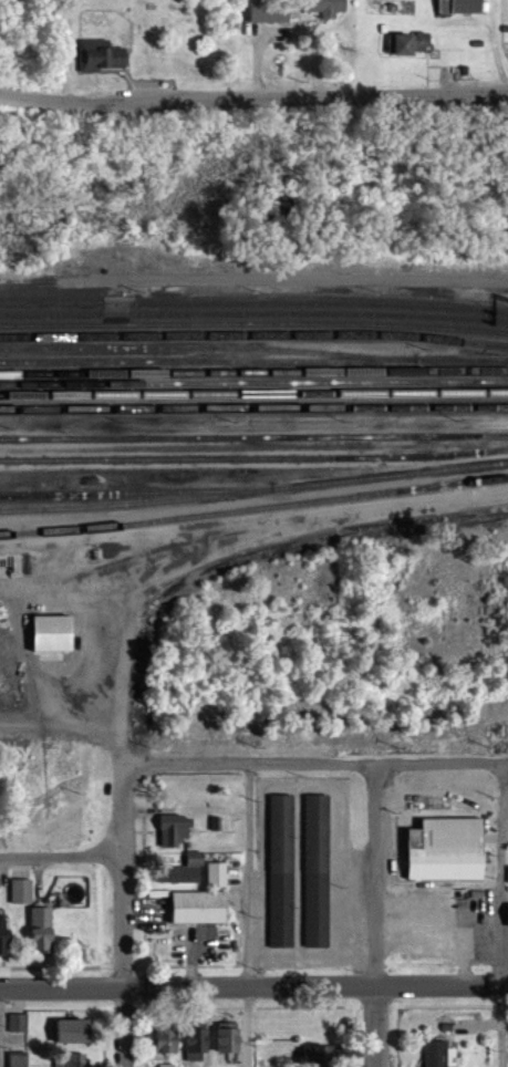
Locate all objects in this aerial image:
building: (325, 7)
building: (460, 7)
building: (269, 11)
building: (413, 44)
building: (101, 55)
road: (253, 96)
railway: (253, 303)
railway: (253, 312)
railway: (253, 324)
railway: (253, 334)
railway: (207, 346)
railway: (253, 361)
railway: (253, 373)
railway: (253, 383)
railway: (253, 394)
railway: (253, 408)
railway: (253, 438)
railway: (253, 456)
railway: (253, 490)
railway: (135, 491)
railway: (255, 511)
road: (312, 515)
road: (126, 607)
building: (52, 633)
road: (317, 764)
road: (315, 783)
road: (123, 809)
building: (174, 829)
building: (446, 849)
road: (60, 854)
building: (281, 870)
building: (317, 870)
building: (183, 871)
building: (216, 874)
road: (374, 874)
building: (21, 891)
building: (199, 907)
road: (501, 914)
building: (507, 914)
road: (246, 915)
road: (123, 921)
building: (42, 929)
building: (3, 930)
road: (438, 935)
road: (505, 936)
road: (310, 956)
road: (466, 960)
road: (253, 985)
building: (18, 1022)
building: (319, 1023)
road: (377, 1026)
road: (125, 1027)
building: (74, 1029)
building: (230, 1036)
building: (168, 1038)
building: (198, 1040)
building: (436, 1052)
building: (323, 1056)
building: (19, 1058)
building: (76, 1059)

